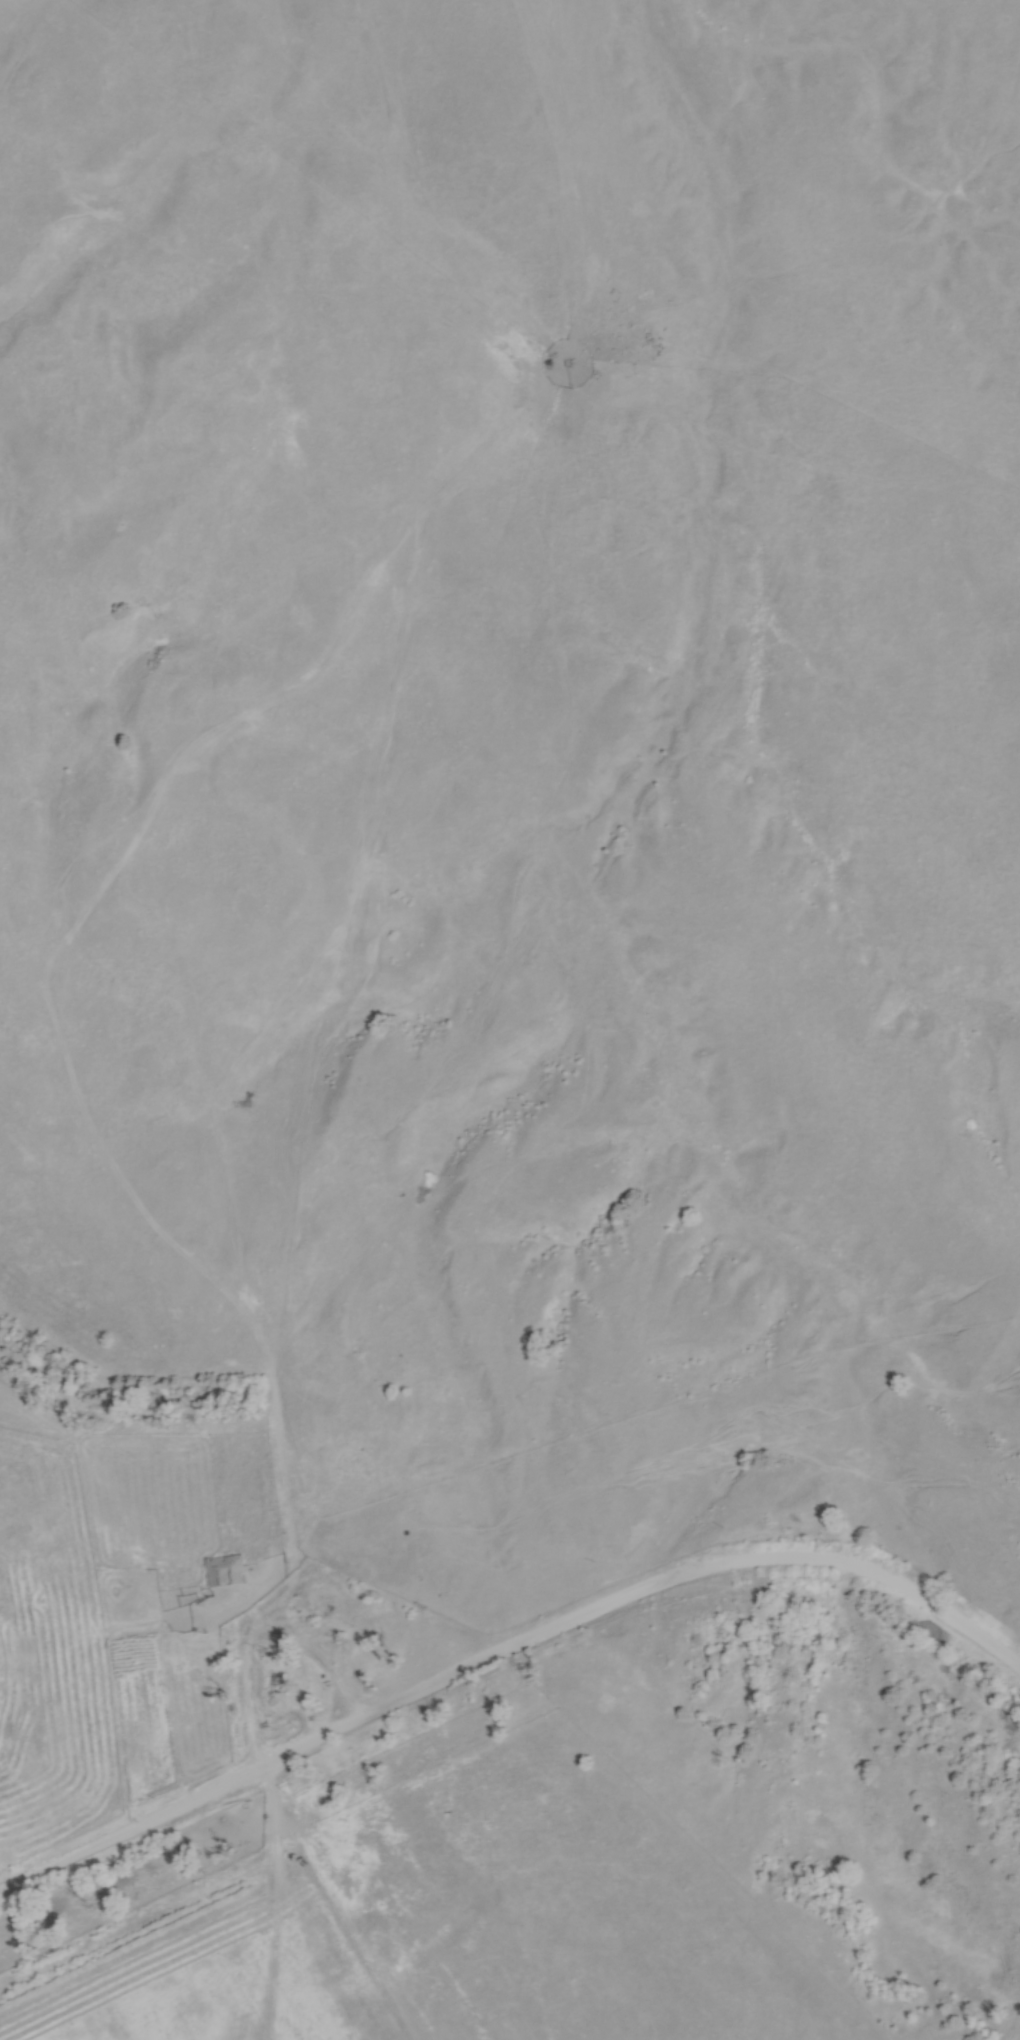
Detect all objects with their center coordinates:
building: (226, 1572)
road: (505, 1650)
road: (332, 1664)

